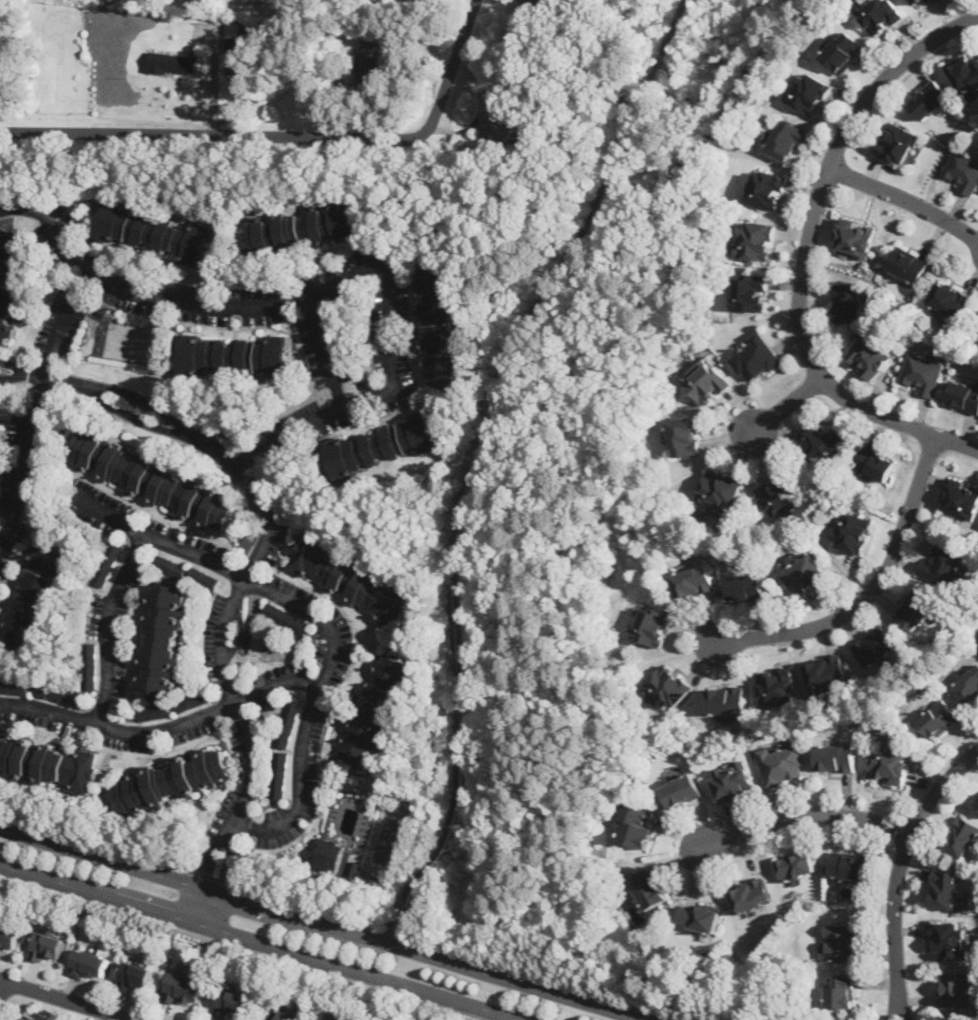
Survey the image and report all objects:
building: (919, 2)
building: (550, 3)
building: (882, 15)
building: (237, 46)
building: (844, 50)
road: (929, 55)
building: (173, 62)
building: (366, 63)
building: (964, 72)
building: (808, 92)
building: (930, 99)
building: (499, 123)
road: (283, 135)
building: (784, 137)
building: (895, 142)
road: (721, 144)
building: (962, 170)
building: (766, 187)
road: (905, 197)
building: (299, 228)
building: (156, 230)
building: (855, 236)
building: (755, 239)
road: (807, 249)
building: (909, 263)
building: (11, 279)
road: (325, 287)
building: (750, 291)
building: (950, 299)
building: (847, 301)
building: (439, 321)
road: (324, 353)
building: (870, 353)
building: (234, 354)
building: (755, 357)
building: (922, 373)
building: (710, 382)
building: (963, 395)
road: (36, 403)
road: (785, 405)
building: (0, 411)
building: (685, 436)
building: (825, 441)
building: (380, 444)
road: (471, 448)
building: (874, 463)
building: (153, 479)
building: (720, 488)
building: (777, 491)
park: (604, 493)
building: (960, 497)
building: (852, 530)
building: (108, 562)
building: (169, 563)
building: (942, 564)
road: (250, 566)
building: (804, 574)
building: (203, 576)
building: (353, 580)
building: (693, 581)
building: (746, 587)
road: (870, 591)
building: (35, 595)
building: (915, 608)
building: (286, 617)
road: (324, 621)
road: (108, 624)
building: (653, 626)
building: (163, 641)
building: (875, 645)
building: (90, 665)
building: (826, 670)
building: (15, 685)
building: (777, 685)
building: (968, 685)
building: (668, 687)
building: (56, 691)
building: (193, 700)
building: (726, 700)
building: (376, 709)
building: (154, 711)
building: (938, 718)
building: (287, 722)
road: (162, 727)
building: (835, 757)
building: (48, 762)
building: (783, 764)
building: (889, 764)
building: (278, 774)
building: (173, 780)
building: (733, 782)
building: (682, 791)
building: (977, 800)
road: (801, 813)
building: (636, 827)
building: (961, 835)
park: (387, 839)
road: (93, 840)
building: (328, 852)
building: (847, 864)
building: (796, 865)
road: (898, 870)
road: (212, 876)
building: (650, 886)
building: (944, 887)
building: (751, 896)
building: (700, 916)
road: (327, 924)
building: (9, 935)
building: (950, 939)
building: (841, 941)
road: (266, 942)
building: (47, 943)
road: (238, 947)
road: (475, 954)
building: (89, 964)
building: (136, 975)
road: (1, 983)
building: (185, 986)
building: (956, 988)
building: (842, 991)
road: (69, 999)
building: (231, 1001)
building: (283, 1013)
building: (35, 1017)
park: (455, 1017)
building: (263, 1019)

